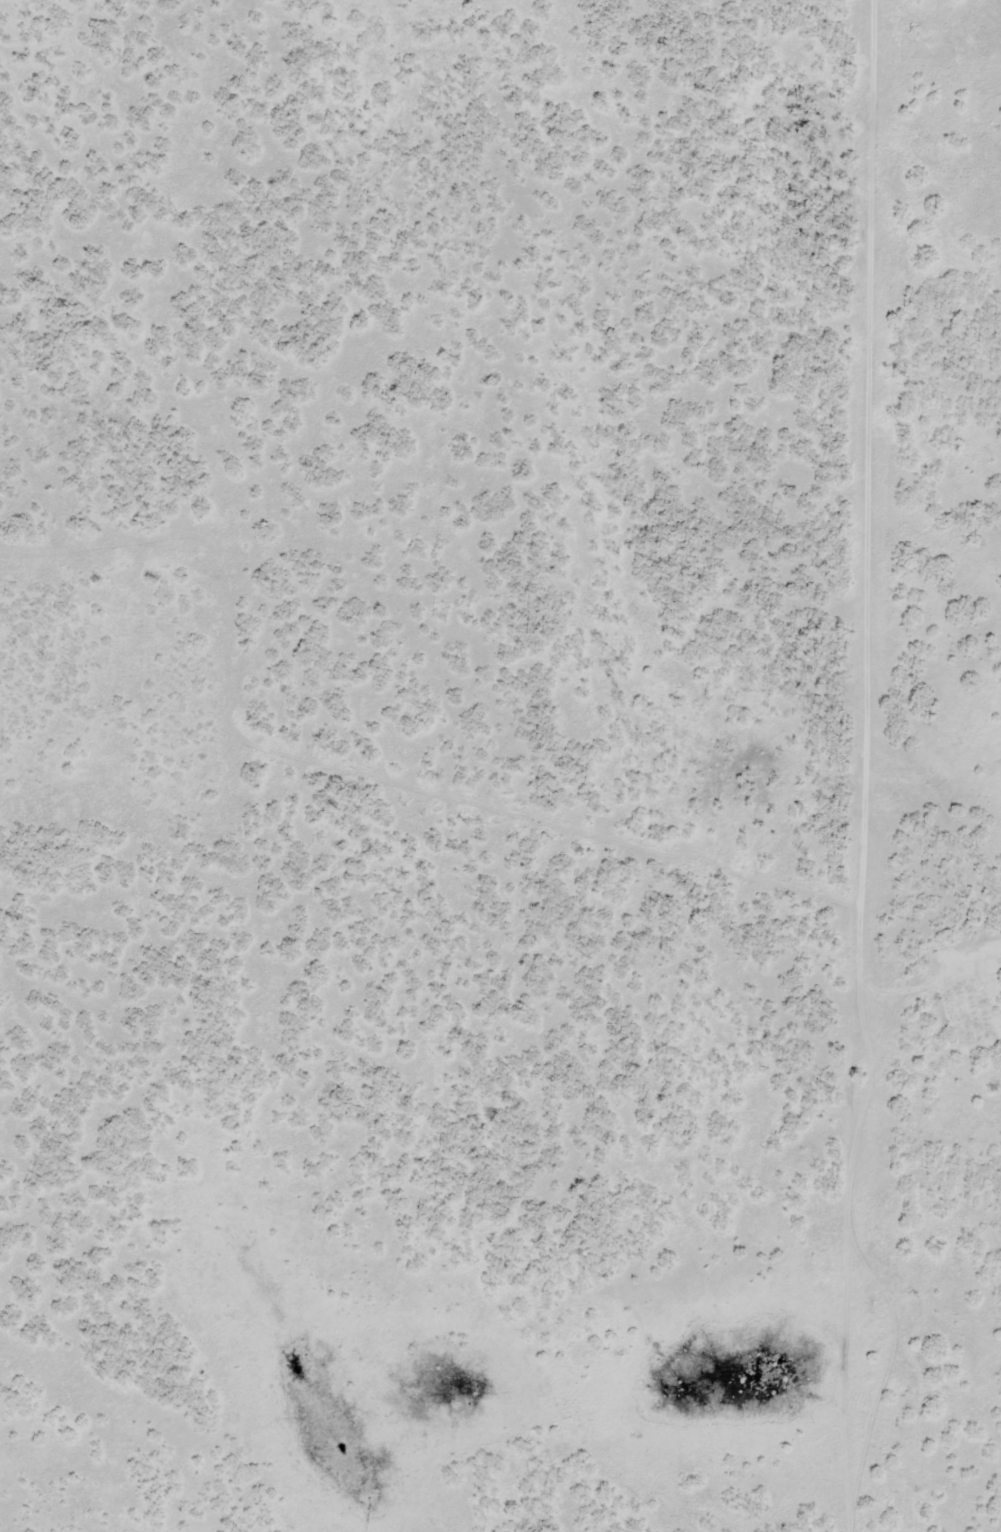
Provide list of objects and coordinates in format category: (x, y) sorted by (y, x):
road: (820, 765)

